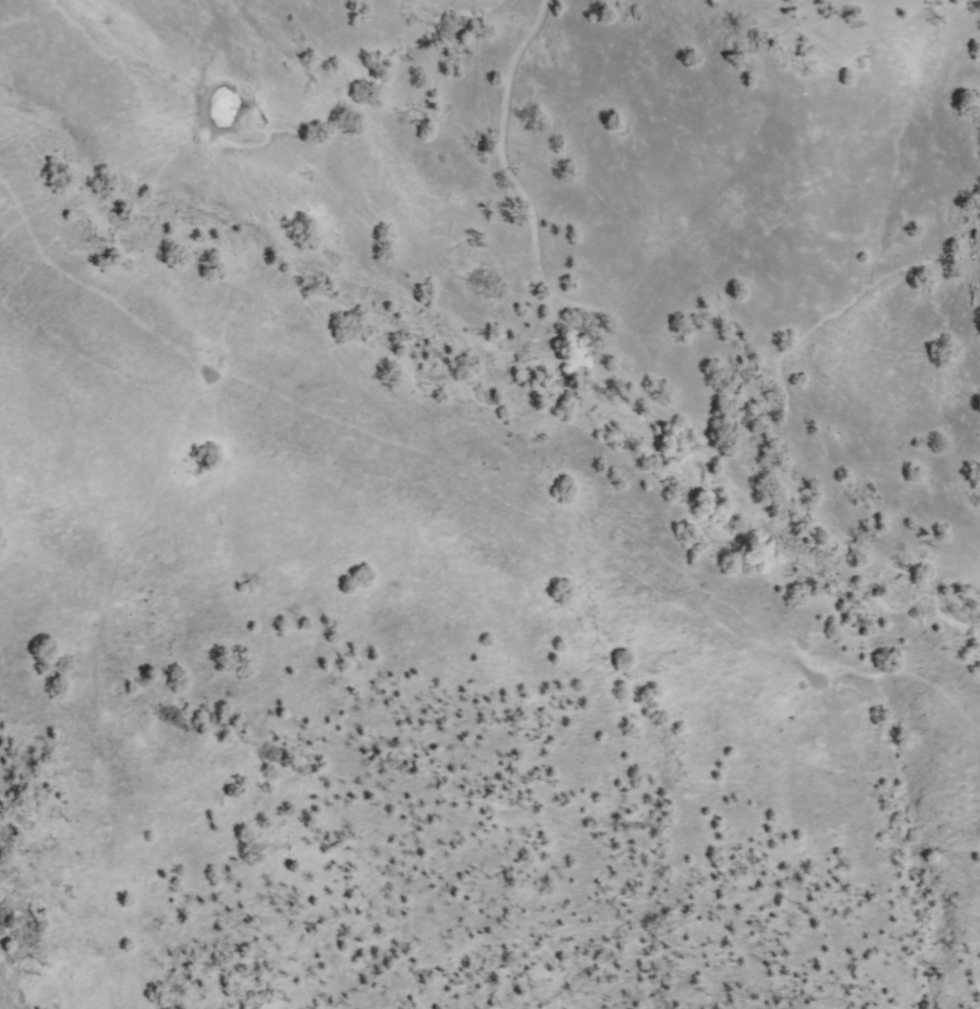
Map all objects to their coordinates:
crop: (7, 45)

